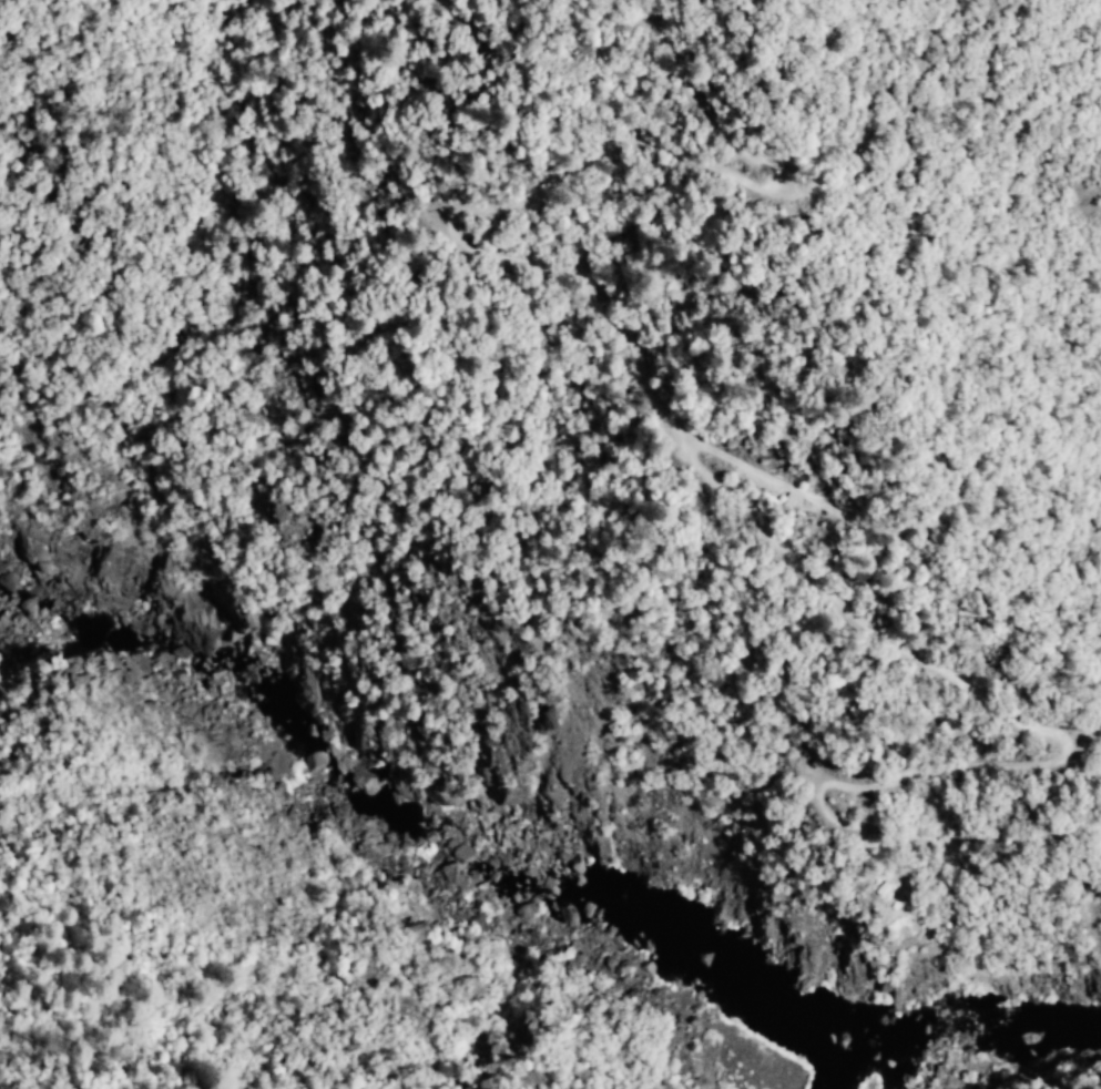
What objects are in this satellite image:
river: (426, 813)
river: (968, 1021)
river: (836, 1071)

